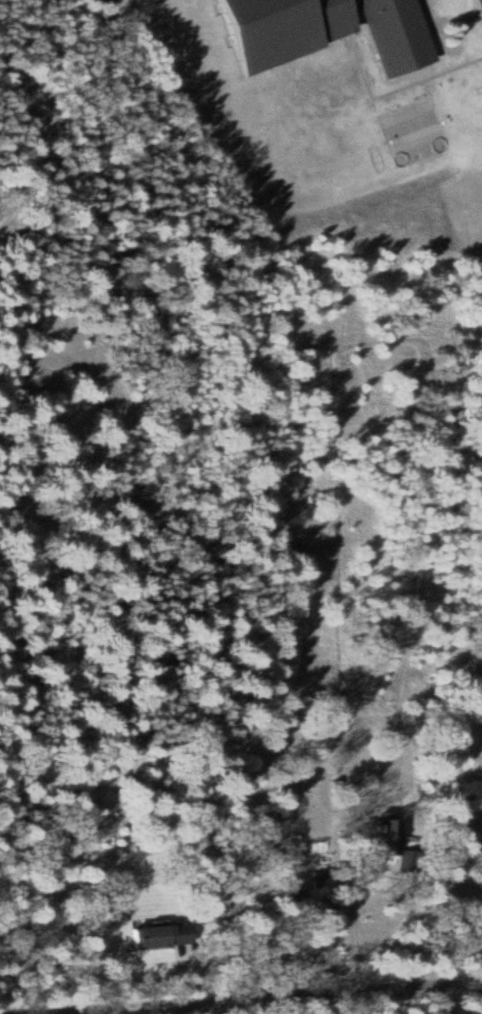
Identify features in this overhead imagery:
building: (476, 10)
building: (308, 30)
building: (415, 132)
building: (382, 836)
building: (303, 897)
building: (139, 936)
road: (241, 994)

